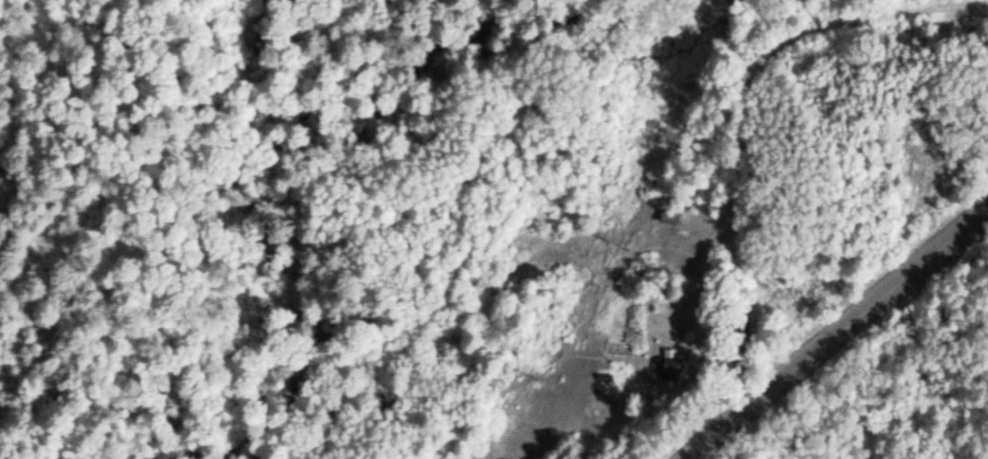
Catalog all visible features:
road: (837, 333)

